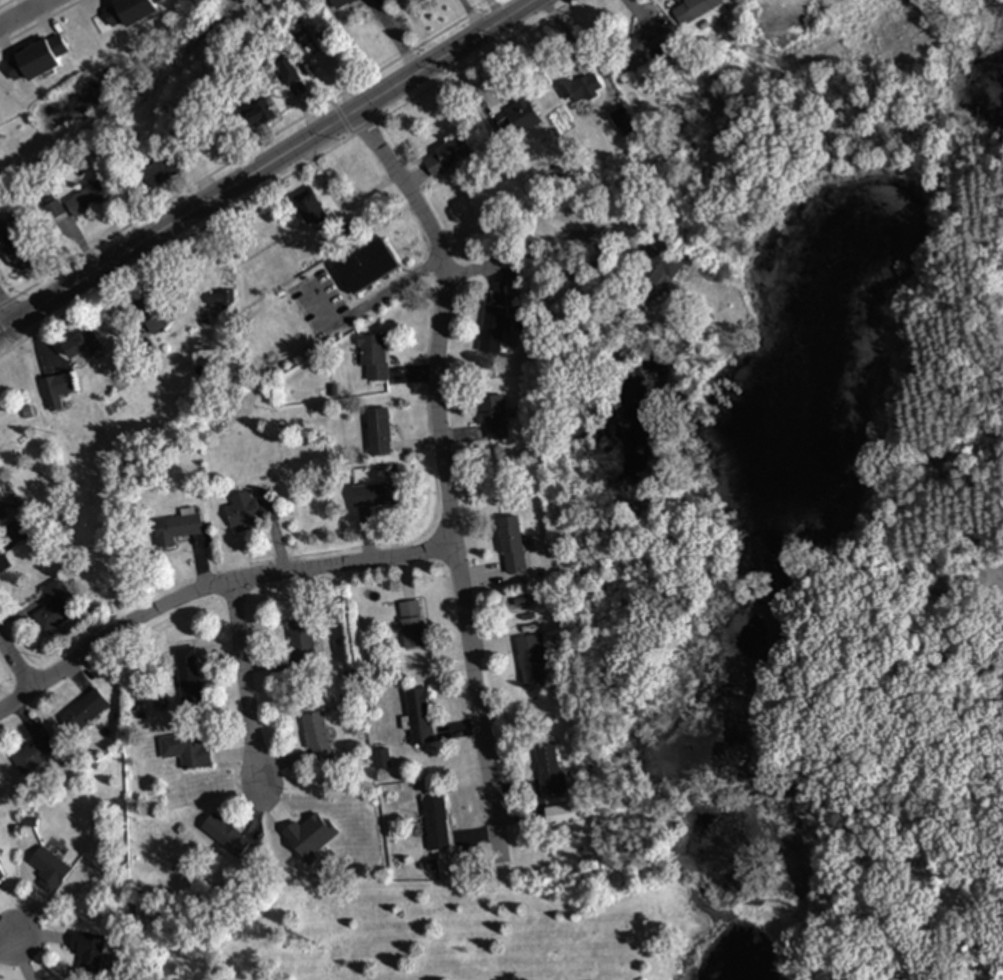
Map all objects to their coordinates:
building: (342, 3)
building: (694, 10)
building: (130, 11)
road: (24, 13)
building: (642, 49)
building: (37, 60)
building: (290, 73)
building: (581, 90)
building: (258, 114)
building: (523, 118)
building: (448, 156)
road: (273, 169)
building: (164, 171)
road: (471, 192)
building: (87, 200)
building: (312, 209)
building: (57, 213)
building: (9, 228)
building: (17, 258)
building: (368, 267)
building: (653, 270)
building: (221, 299)
road: (14, 300)
building: (156, 316)
building: (494, 331)
building: (82, 346)
building: (374, 358)
building: (58, 387)
building: (494, 418)
building: (379, 433)
road: (449, 474)
building: (1, 496)
building: (376, 496)
building: (250, 511)
building: (2, 515)
building: (177, 530)
building: (15, 534)
building: (513, 551)
park: (783, 581)
road: (217, 596)
building: (57, 609)
building: (412, 626)
building: (302, 646)
road: (19, 653)
building: (532, 661)
building: (188, 676)
road: (255, 683)
building: (85, 712)
building: (421, 717)
building: (317, 739)
building: (187, 751)
building: (33, 757)
building: (382, 760)
building: (549, 770)
building: (0, 789)
building: (561, 816)
building: (436, 825)
building: (225, 836)
building: (51, 871)
building: (2, 877)
road: (10, 940)
building: (89, 953)

